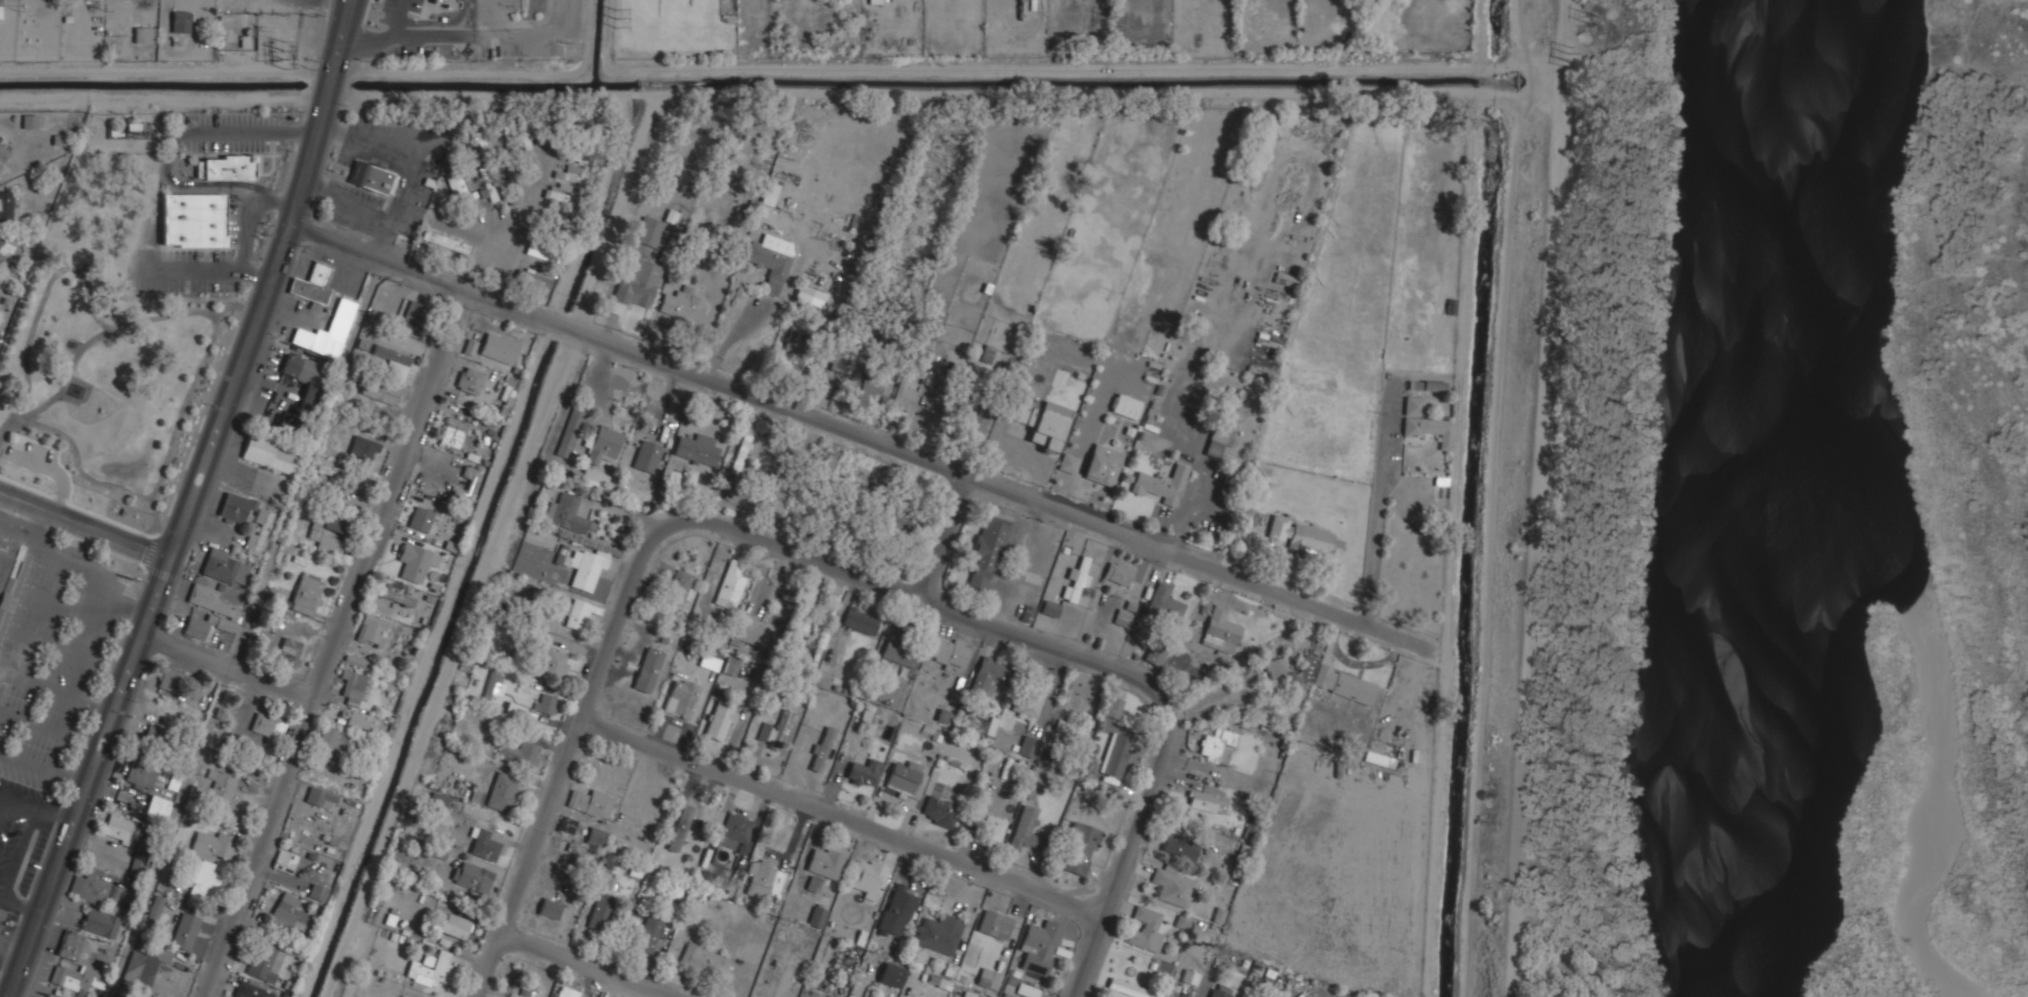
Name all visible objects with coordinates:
building: (441, 9)
road: (167, 12)
power tower: (1599, 17)
building: (181, 21)
power tower: (1107, 25)
building: (143, 33)
power tower: (291, 51)
power tower: (1591, 53)
building: (30, 120)
building: (528, 138)
building: (4, 152)
building: (584, 153)
building: (226, 168)
building: (573, 173)
building: (372, 176)
building: (489, 183)
building: (459, 188)
building: (562, 193)
building: (770, 193)
building: (10, 205)
building: (193, 220)
building: (649, 230)
building: (1, 241)
building: (445, 241)
building: (1, 245)
building: (543, 251)
building: (771, 259)
road: (504, 262)
building: (534, 278)
building: (311, 283)
building: (636, 285)
building: (811, 294)
building: (684, 304)
building: (414, 313)
building: (936, 319)
building: (328, 330)
building: (799, 340)
building: (470, 347)
building: (499, 347)
building: (987, 352)
building: (394, 360)
building: (1052, 360)
building: (306, 377)
building: (470, 379)
park: (107, 384)
building: (1434, 385)
building: (870, 389)
building: (379, 392)
building: (905, 397)
building: (1126, 405)
building: (1414, 405)
building: (1022, 412)
building: (977, 421)
building: (1050, 425)
building: (1430, 428)
building: (570, 431)
building: (456, 432)
road: (862, 438)
building: (604, 444)
building: (1219, 444)
building: (696, 447)
building: (362, 449)
building: (269, 452)
building: (645, 456)
building: (747, 462)
building: (1069, 462)
building: (1104, 463)
building: (337, 471)
building: (593, 480)
building: (1161, 485)
building: (460, 495)
river: (1785, 498)
building: (346, 499)
building: (778, 499)
road: (189, 501)
building: (235, 508)
building: (567, 513)
building: (421, 519)
building: (900, 519)
road: (84, 525)
building: (259, 531)
building: (327, 532)
building: (1305, 536)
road: (943, 539)
building: (987, 556)
building: (416, 562)
building: (541, 564)
road: (825, 565)
building: (225, 566)
building: (583, 566)
building: (1118, 573)
building: (9, 576)
building: (1077, 579)
building: (730, 584)
building: (679, 588)
building: (307, 594)
building: (396, 595)
building: (1165, 602)
building: (1051, 607)
building: (210, 611)
building: (579, 613)
building: (1124, 617)
building: (860, 619)
building: (818, 625)
building: (373, 630)
building: (1221, 631)
building: (759, 634)
road: (340, 645)
building: (289, 651)
building: (901, 651)
building: (949, 651)
building: (1154, 656)
building: (711, 659)
building: (358, 661)
building: (555, 663)
building: (731, 665)
road: (232, 668)
building: (648, 669)
building: (1307, 669)
building: (987, 676)
building: (1276, 676)
building: (352, 683)
building: (1345, 684)
building: (493, 685)
building: (175, 686)
building: (681, 697)
building: (546, 702)
building: (1031, 703)
building: (1114, 706)
building: (361, 722)
building: (719, 722)
building: (268, 725)
building: (1072, 728)
building: (775, 731)
building: (157, 737)
building: (333, 739)
building: (1216, 743)
building: (1029, 745)
building: (822, 748)
building: (519, 752)
building: (1116, 759)
building: (863, 772)
building: (145, 773)
building: (906, 778)
building: (222, 783)
building: (503, 791)
building: (322, 796)
building: (438, 800)
building: (591, 801)
building: (1207, 803)
building: (940, 804)
road: (37, 807)
building: (157, 809)
road: (842, 819)
building: (567, 825)
building: (993, 826)
building: (681, 827)
building: (127, 829)
building: (1028, 829)
building: (736, 830)
building: (595, 835)
building: (488, 844)
building: (1180, 846)
building: (1081, 848)
building: (210, 860)
building: (285, 860)
building: (825, 861)
building: (137, 865)
building: (473, 876)
building: (868, 878)
building: (761, 879)
building: (1173, 884)
building: (106, 891)
building: (318, 891)
road: (20, 905)
building: (155, 907)
building: (550, 907)
building: (897, 910)
building: (602, 911)
building: (290, 912)
building: (818, 915)
building: (1185, 921)
building: (101, 922)
building: (995, 924)
building: (455, 925)
building: (1146, 929)
building: (185, 930)
building: (649, 933)
building: (940, 934)
building: (71, 944)
building: (1040, 946)
building: (704, 960)
building: (144, 962)
building: (265, 962)
road: (589, 965)
building: (431, 968)
building: (985, 976)
building: (78, 977)
building: (1191, 977)
building: (1275, 977)
building: (785, 982)
building: (883, 985)
building: (1011, 985)
building: (1130, 989)
building: (251, 990)
building: (1026, 990)
building: (1221, 990)
building: (567, 992)
road: (5, 993)
building: (1293, 994)
building: (829, 995)
building: (50, 996)
building: (403, 996)
building: (815, 996)

